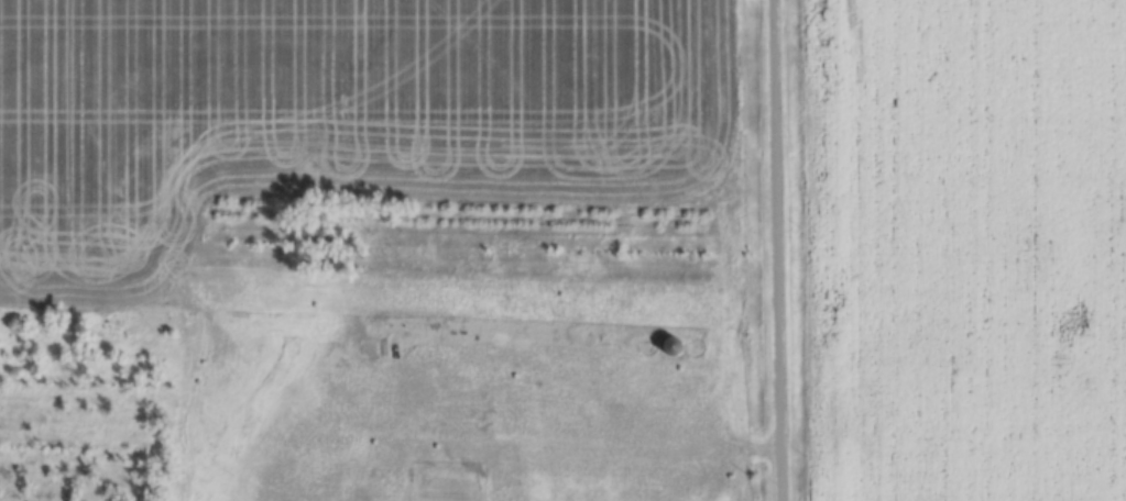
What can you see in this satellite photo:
road: (776, 250)
building: (670, 346)

